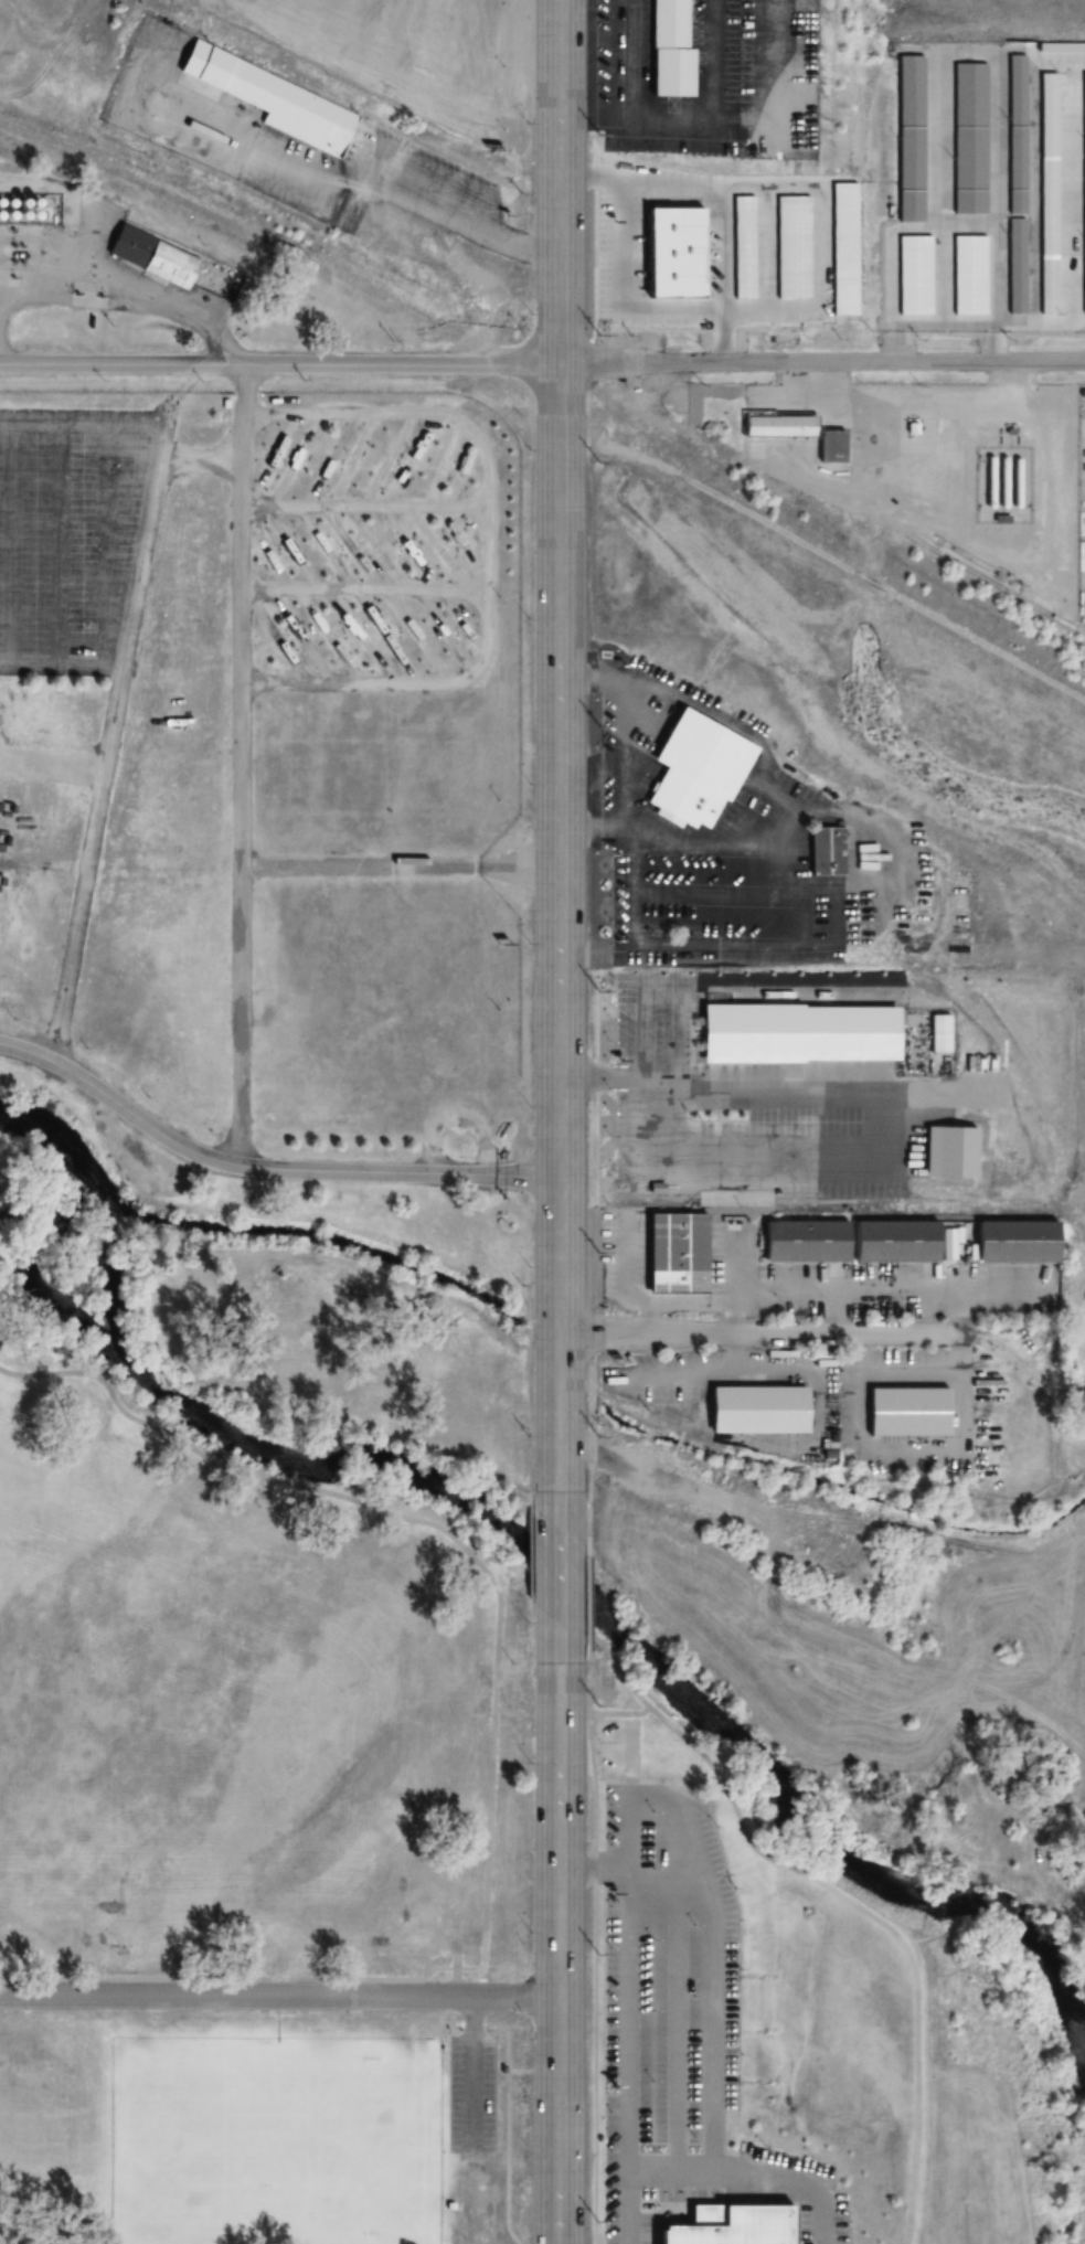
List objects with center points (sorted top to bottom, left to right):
building: (683, 47)
building: (273, 100)
building: (910, 139)
building: (969, 139)
building: (1053, 171)
road: (561, 181)
building: (679, 251)
building: (149, 257)
building: (1017, 266)
building: (935, 289)
road: (279, 362)
road: (822, 362)
railway: (555, 372)
building: (778, 426)
building: (831, 447)
parking lot: (71, 534)
building: (700, 768)
building: (825, 852)
road: (562, 926)
building: (796, 1034)
building: (667, 1054)
road: (265, 1168)
building: (848, 1242)
building: (1014, 1243)
building: (676, 1254)
road: (766, 1333)
building: (756, 1411)
building: (905, 1412)
river: (536, 1556)
road: (560, 1575)
park: (228, 1714)
building: (673, 1833)
road: (560, 1953)
road: (279, 1995)
road: (506, 2112)
park: (275, 2140)
building: (745, 2224)

